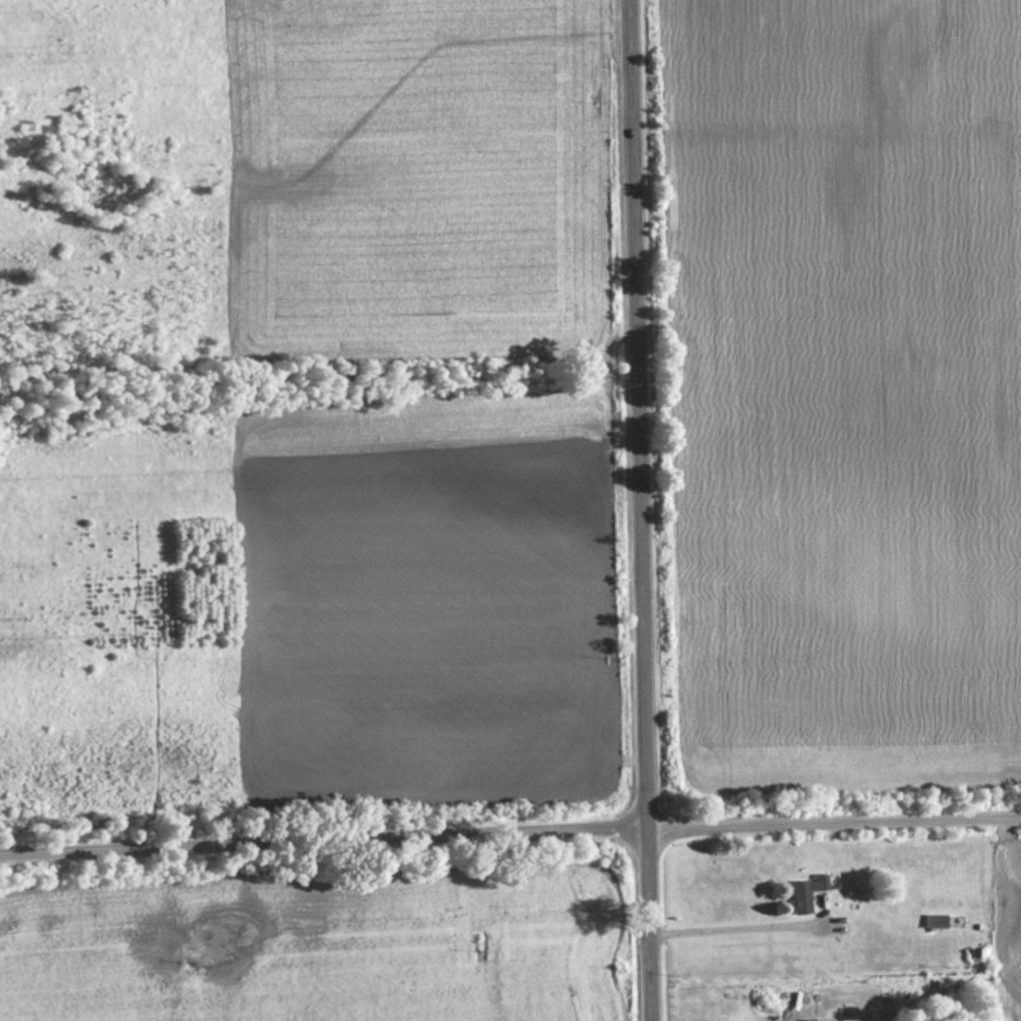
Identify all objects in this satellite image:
road: (643, 510)
road: (510, 842)
building: (805, 893)
building: (935, 921)

